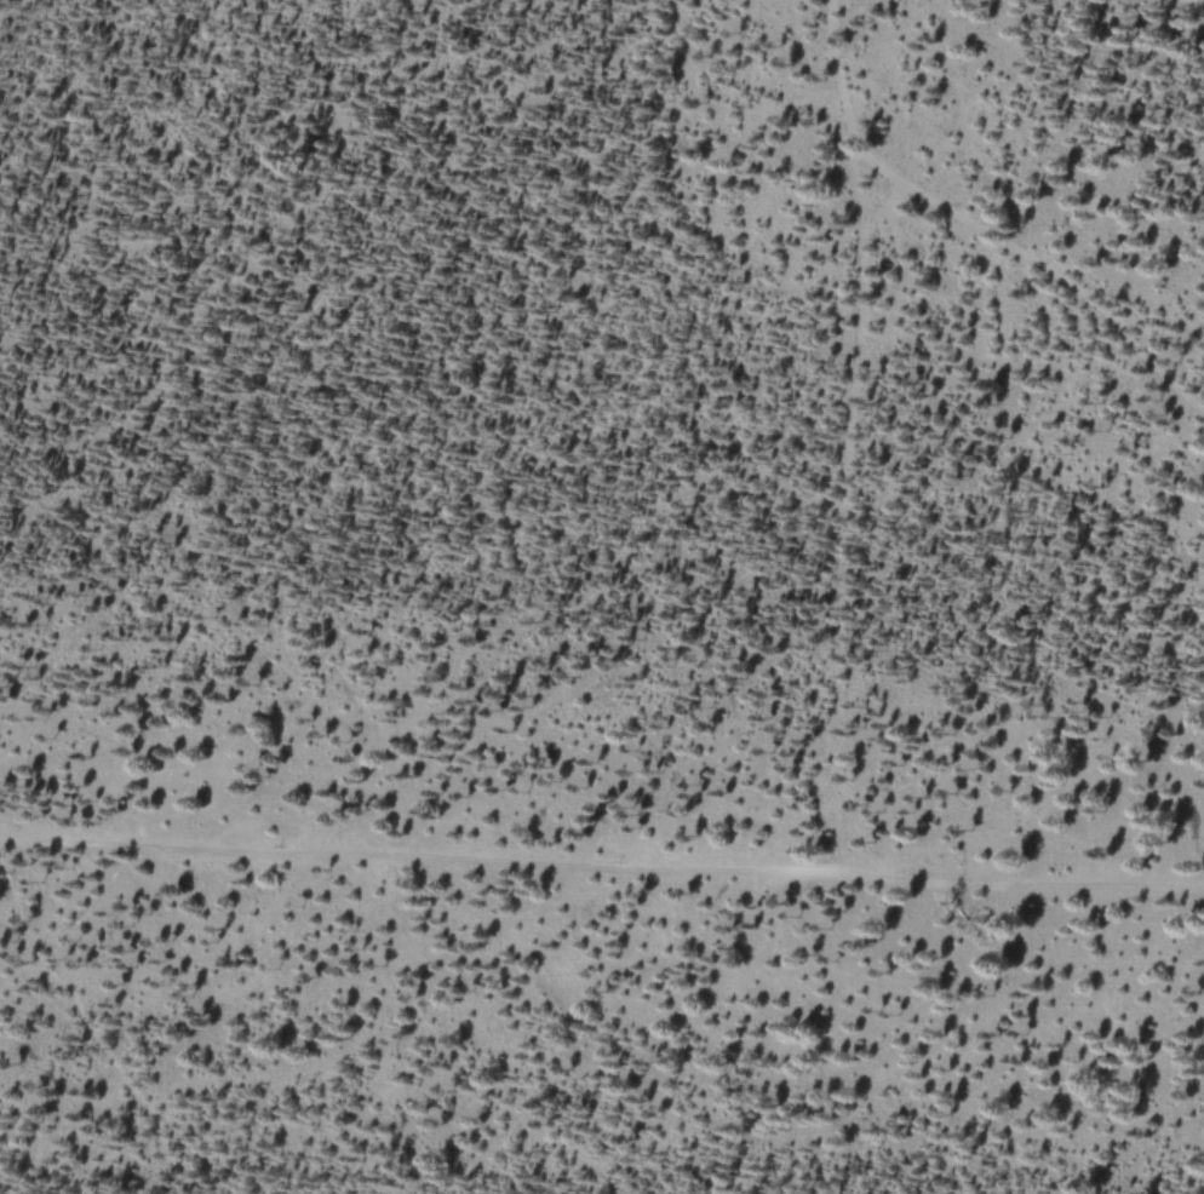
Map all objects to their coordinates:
road: (969, 230)
road: (849, 518)
road: (601, 866)
road: (92, 1033)

